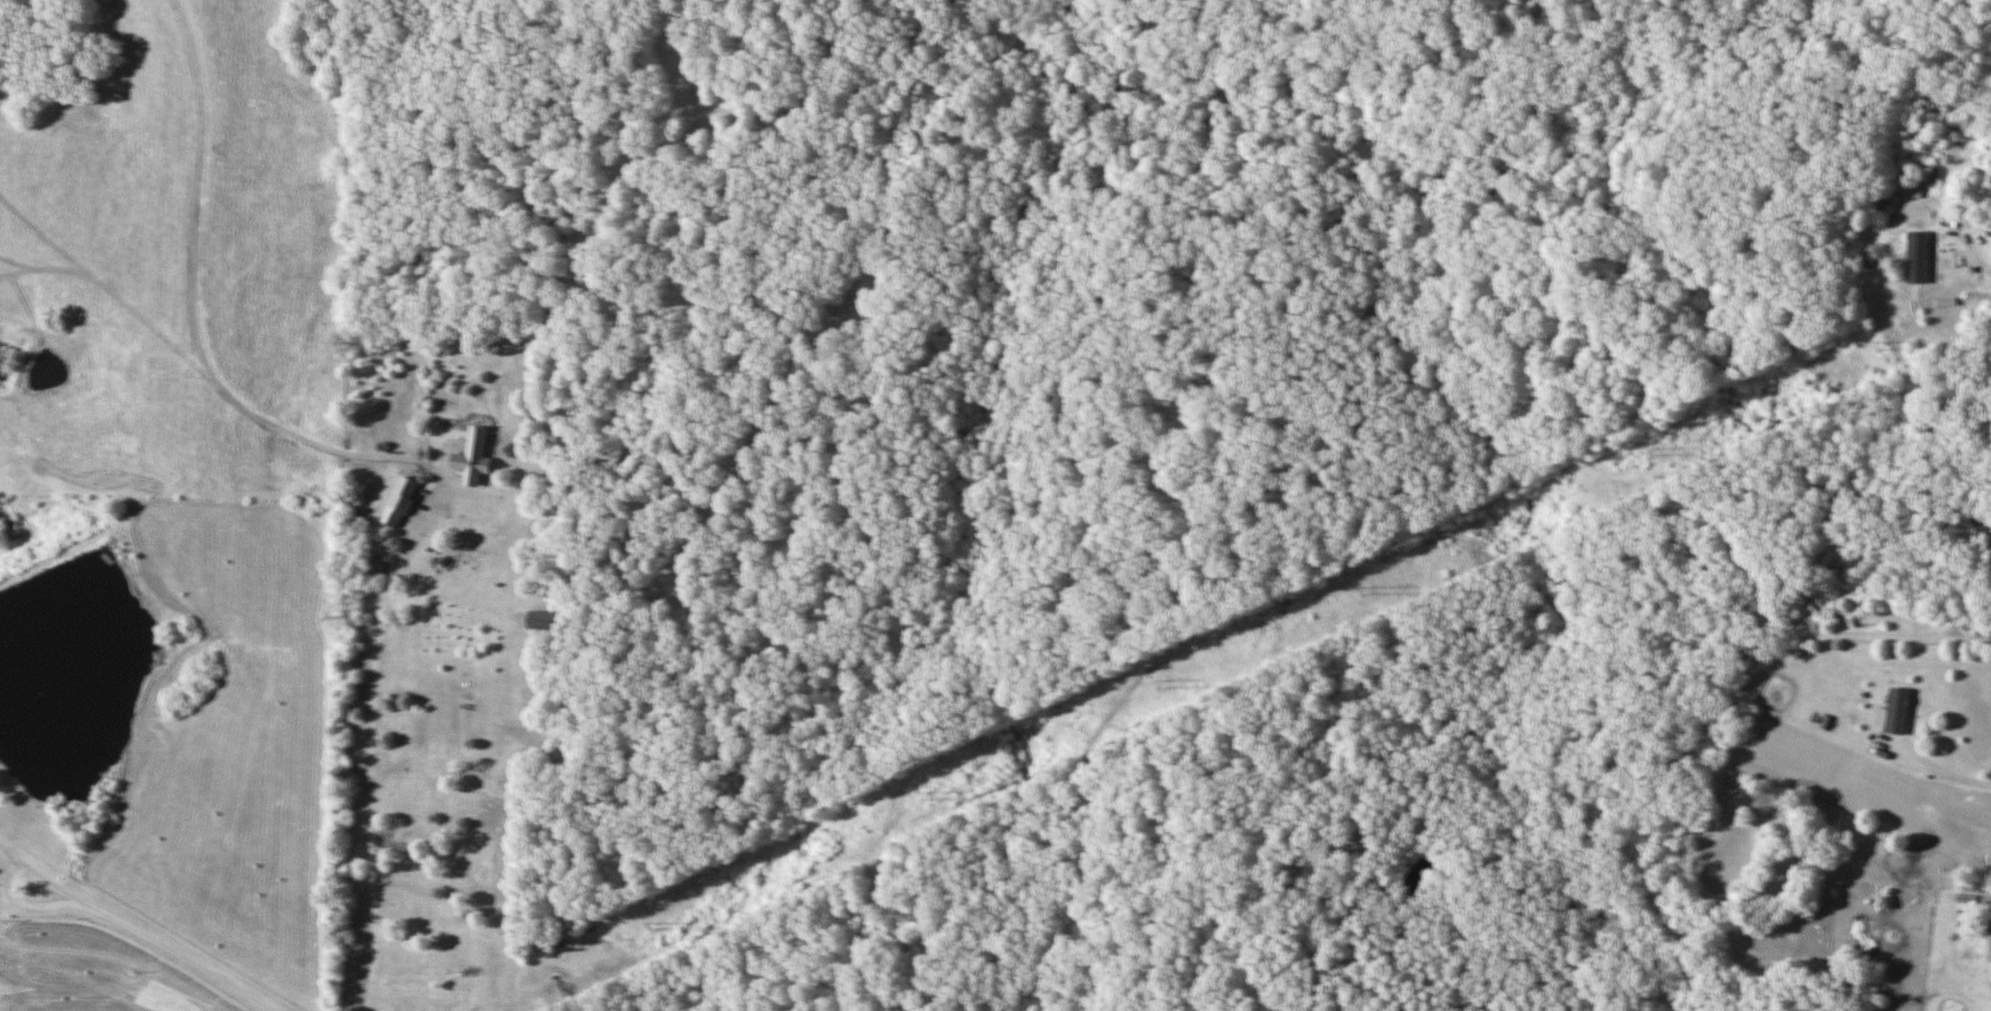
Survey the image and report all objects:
building: (1983, 173)
building: (1886, 260)
building: (542, 620)
building: (1897, 711)
road: (367, 746)
road: (1946, 765)
road: (12, 855)
road: (150, 939)

